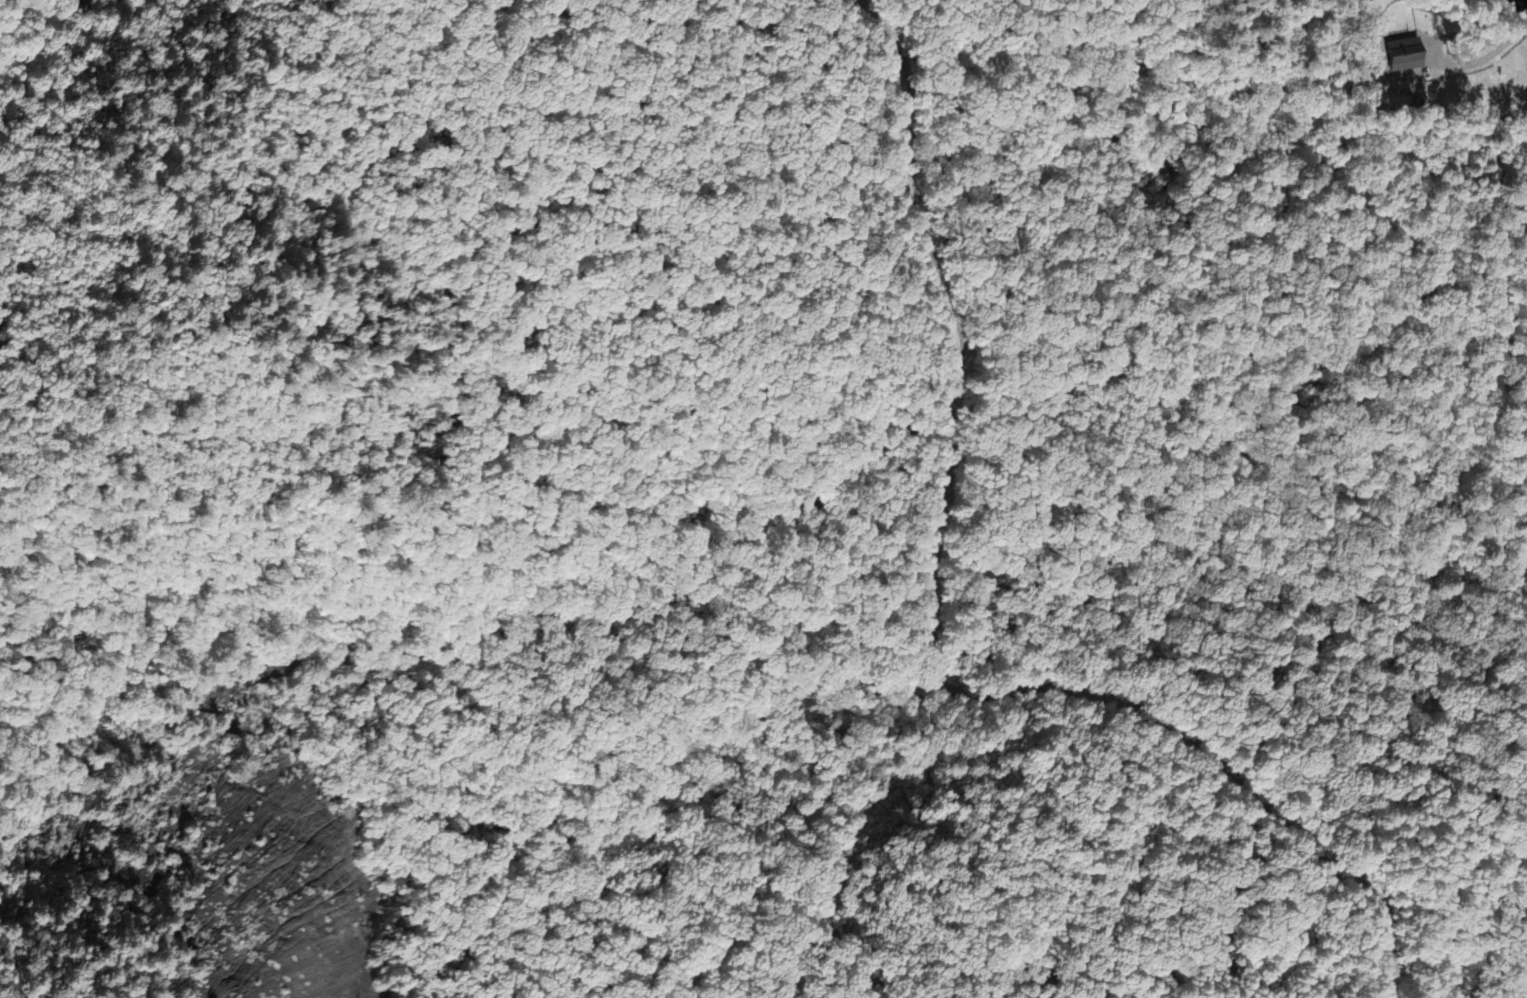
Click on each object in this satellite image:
building: (1404, 57)
road: (1363, 191)
road: (929, 639)

